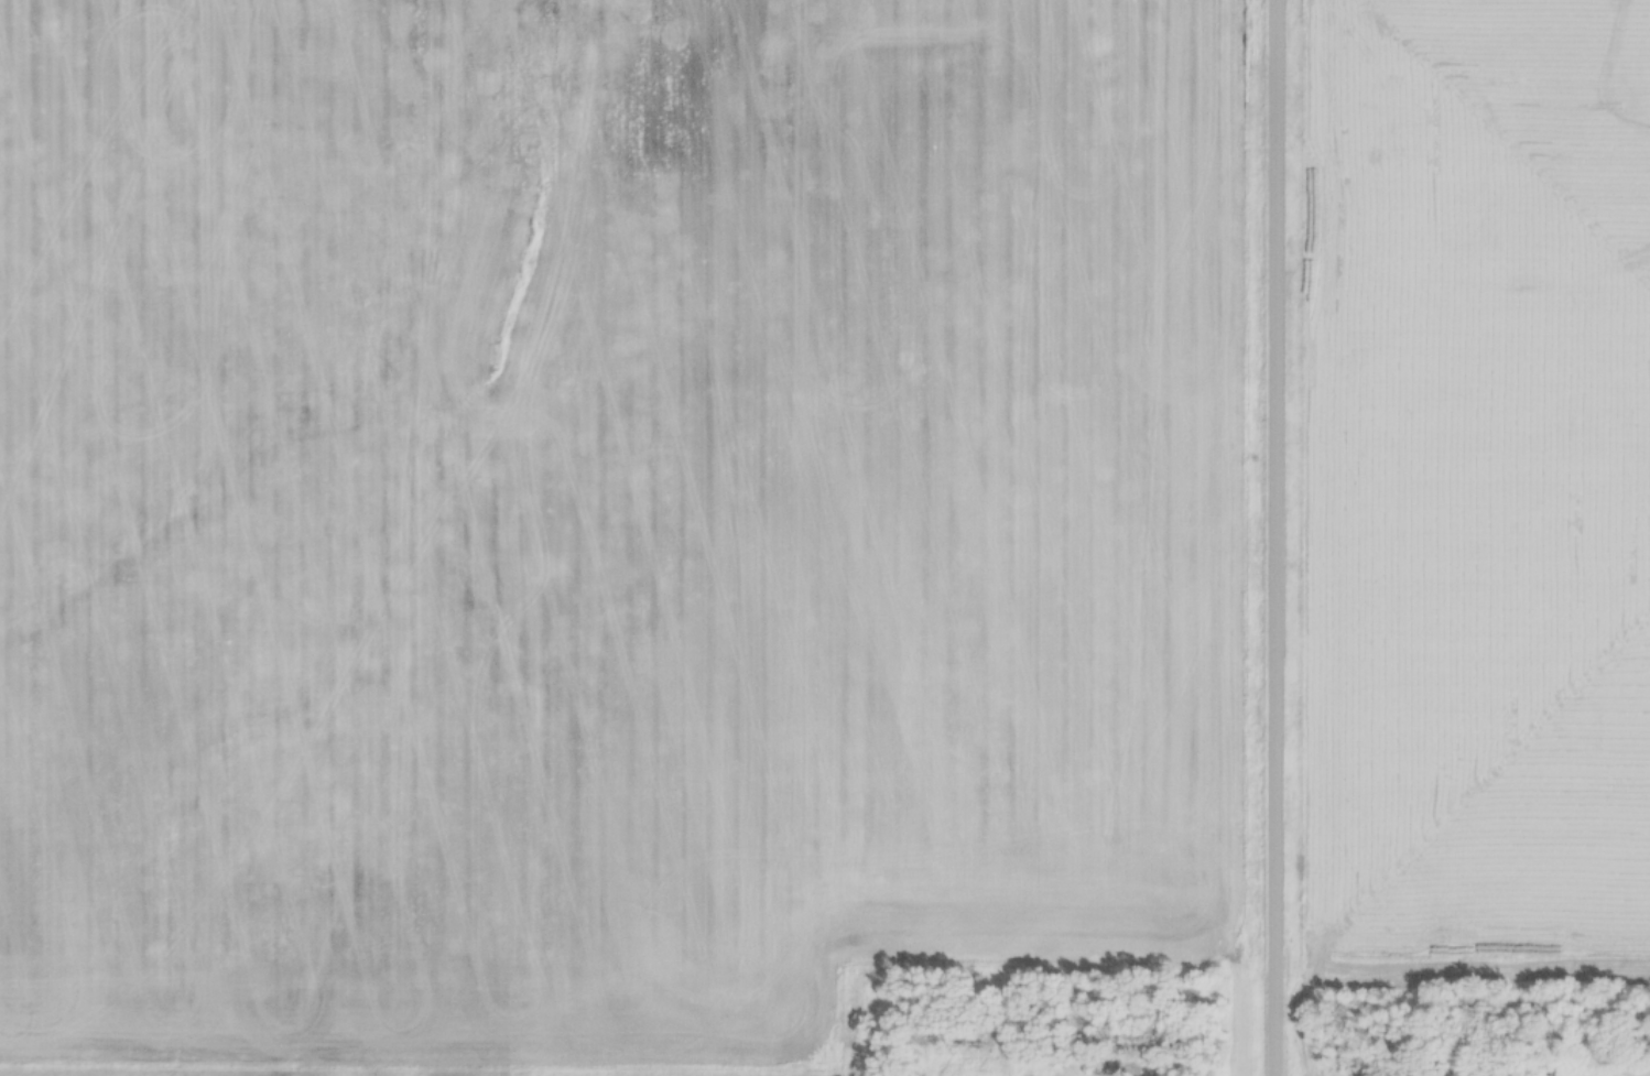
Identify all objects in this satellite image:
road: (1276, 537)

